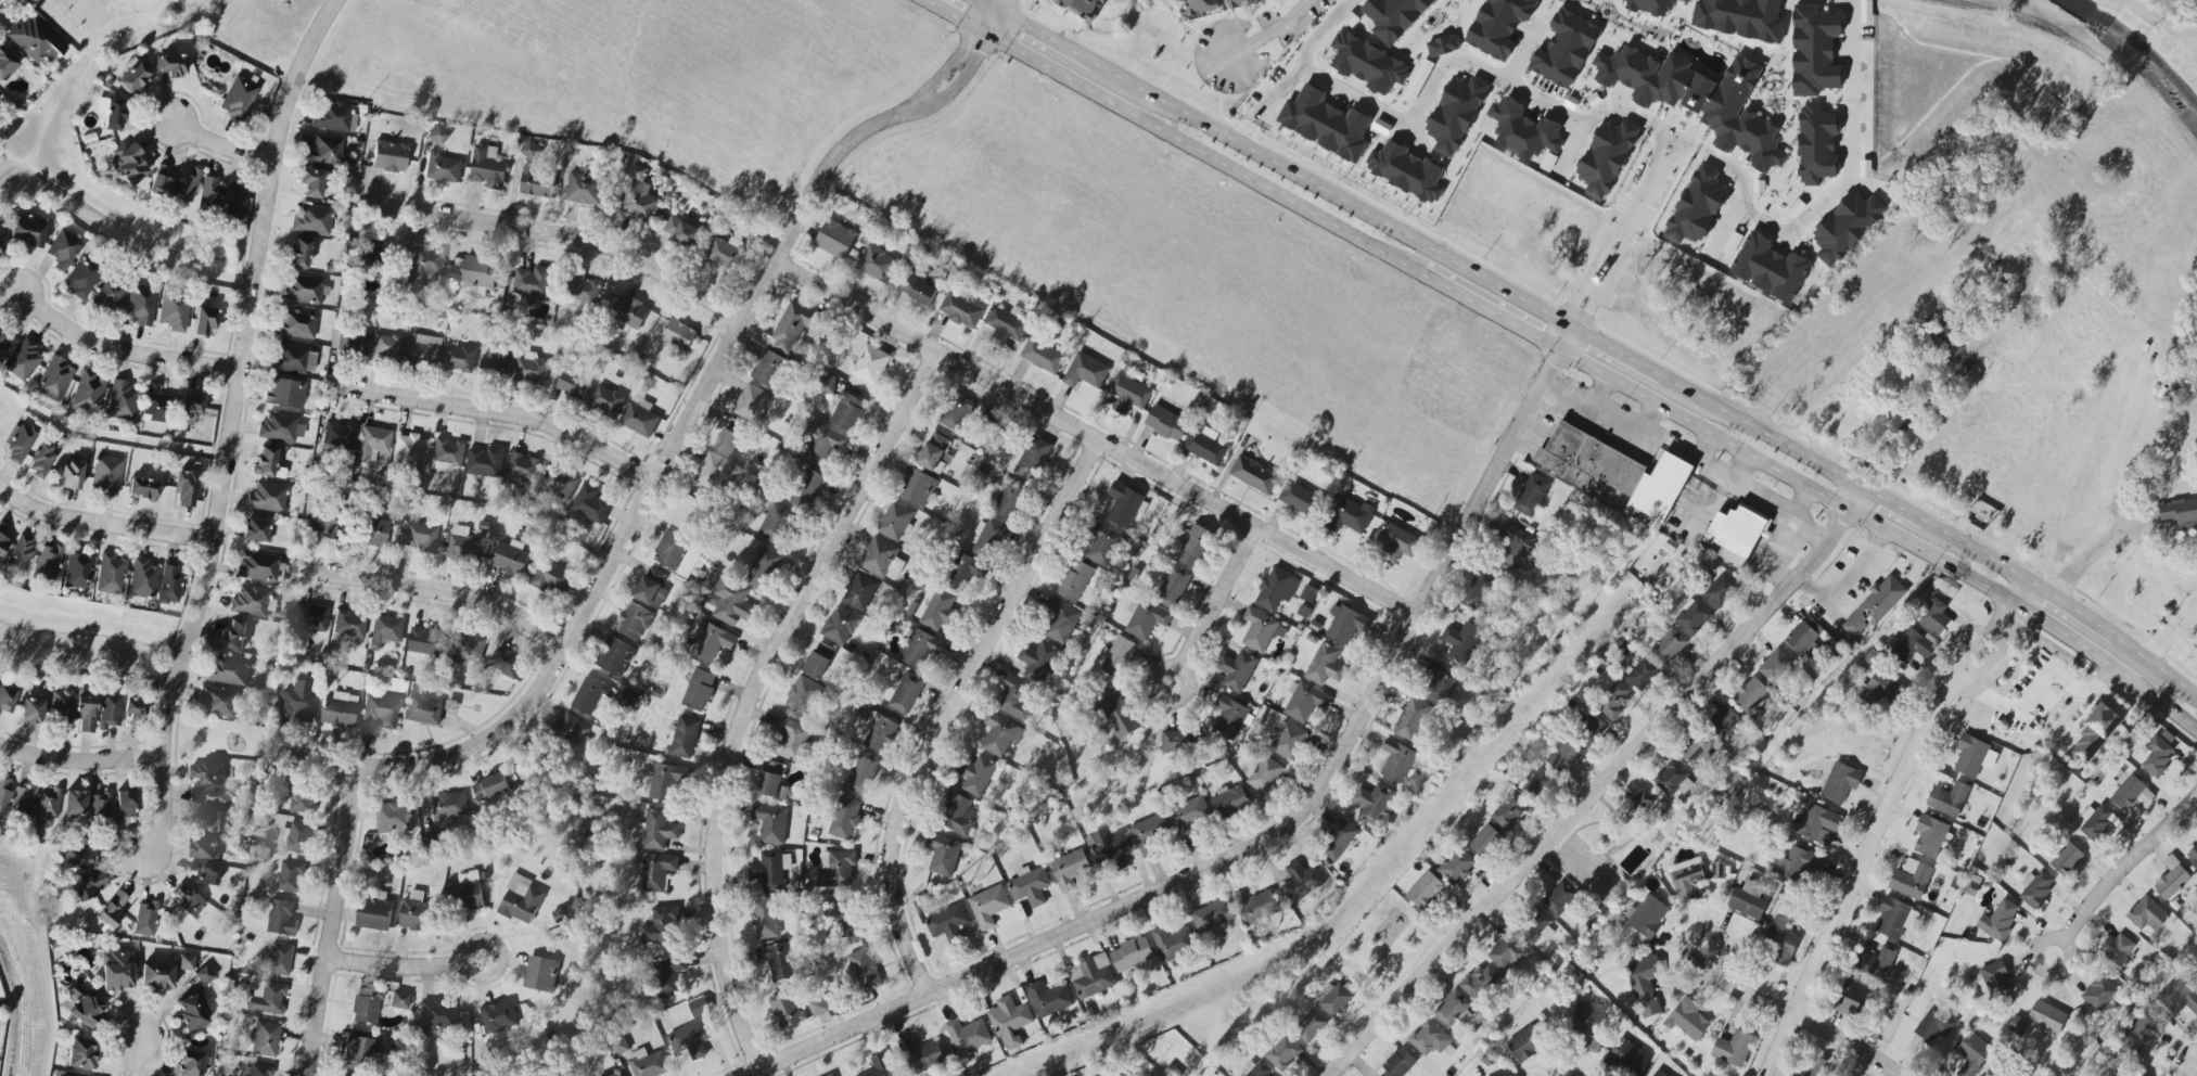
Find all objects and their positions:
building: (175, 0)
building: (1683, 0)
building: (1239, 2)
road: (988, 5)
road: (1002, 5)
building: (1078, 7)
building: (1647, 7)
building: (1193, 8)
road: (955, 15)
building: (1393, 16)
building: (1740, 18)
road: (1326, 25)
building: (1497, 26)
road: (1274, 35)
building: (36, 40)
road: (1046, 41)
building: (1441, 44)
building: (1566, 46)
building: (1814, 50)
building: (5, 64)
building: (1368, 64)
building: (171, 65)
building: (132, 75)
building: (1700, 97)
building: (238, 99)
road: (1272, 100)
building: (110, 113)
building: (1455, 113)
building: (334, 116)
building: (1325, 123)
road: (1661, 129)
building: (1525, 130)
building: (437, 136)
building: (1816, 145)
road: (226, 148)
building: (323, 150)
road: (1652, 150)
road: (1201, 153)
building: (389, 156)
building: (1608, 156)
road: (1672, 161)
building: (127, 163)
building: (442, 168)
building: (487, 168)
building: (1405, 170)
building: (534, 175)
building: (159, 182)
building: (311, 182)
building: (183, 184)
building: (584, 187)
building: (208, 194)
road: (1331, 197)
building: (235, 201)
building: (638, 202)
road: (1637, 203)
building: (1698, 205)
building: (311, 219)
building: (1847, 227)
building: (26, 230)
building: (682, 230)
road: (565, 236)
building: (834, 239)
building: (0, 249)
building: (62, 249)
building: (297, 253)
building: (725, 253)
building: (877, 264)
building: (422, 266)
building: (1768, 267)
building: (477, 271)
road: (1582, 271)
building: (80, 278)
building: (532, 282)
road: (1606, 284)
building: (303, 290)
building: (917, 290)
building: (584, 292)
building: (107, 296)
building: (2034, 296)
building: (140, 305)
building: (174, 310)
building: (960, 310)
building: (628, 311)
road: (1487, 311)
building: (204, 321)
building: (296, 323)
building: (1006, 324)
building: (792, 325)
building: (678, 334)
building: (348, 341)
building: (2, 344)
building: (387, 347)
building: (423, 350)
building: (1042, 353)
building: (1953, 353)
road: (1615, 354)
road: (127, 358)
building: (294, 358)
building: (458, 358)
building: (497, 359)
building: (22, 360)
building: (869, 364)
building: (1127, 364)
building: (531, 369)
building: (768, 369)
building: (1085, 372)
building: (54, 379)
building: (571, 384)
building: (827, 384)
building: (88, 393)
building: (284, 393)
building: (1128, 395)
building: (606, 400)
building: (122, 401)
building: (1196, 401)
building: (752, 402)
building: (154, 405)
building: (190, 407)
road: (500, 411)
building: (847, 412)
building: (957, 413)
building: (639, 419)
building: (1164, 422)
road: (239, 425)
building: (280, 427)
road: (1905, 431)
building: (339, 434)
road: (1763, 434)
building: (729, 437)
road: (1097, 440)
building: (18, 441)
building: (371, 443)
road: (672, 444)
building: (820, 444)
building: (1204, 446)
building: (448, 451)
building: (934, 451)
building: (408, 452)
building: (1032, 458)
building: (41, 461)
building: (265, 461)
building: (485, 462)
building: (521, 466)
building: (712, 471)
building: (1618, 473)
building: (69, 475)
building: (106, 475)
building: (1253, 475)
building: (560, 485)
building: (917, 487)
building: (143, 488)
building: (186, 488)
building: (807, 489)
building: (1531, 496)
building: (267, 497)
building: (1298, 498)
building: (1008, 501)
building: (590, 504)
building: (1124, 504)
road: (1895, 507)
parking lot: (1693, 511)
parking lot: (1760, 512)
building: (687, 513)
building: (2179, 513)
building: (1350, 515)
building: (895, 521)
building: (776, 524)
road: (105, 526)
road: (1882, 529)
building: (256, 530)
building: (374, 531)
building: (1737, 531)
building: (419, 536)
building: (988, 538)
building: (1396, 542)
building: (462, 543)
building: (3, 545)
building: (1102, 546)
building: (1193, 546)
building: (1517, 547)
building: (669, 550)
road: (1982, 553)
building: (20, 554)
building: (510, 558)
building: (881, 558)
road: (2091, 558)
building: (47, 562)
building: (690, 562)
building: (257, 566)
building: (78, 568)
building: (762, 568)
building: (963, 572)
building: (110, 574)
building: (549, 577)
building: (142, 578)
building: (1074, 580)
parking lot: (1844, 582)
building: (169, 584)
building: (1172, 586)
building: (651, 587)
building: (1276, 589)
building: (1479, 590)
building: (1720, 590)
road: (444, 591)
building: (859, 591)
building: (250, 601)
building: (729, 601)
road: (2192, 604)
building: (1874, 605)
road: (1212, 607)
building: (938, 610)
road: (2067, 612)
building: (1934, 616)
building: (1693, 617)
building: (310, 618)
building: (1146, 619)
building: (633, 620)
building: (1060, 622)
building: (1345, 624)
building: (348, 625)
building: (842, 626)
building: (1261, 630)
building: (385, 631)
road: (2167, 632)
building: (234, 633)
building: (1801, 638)
building: (426, 640)
building: (1461, 641)
building: (710, 642)
building: (1669, 645)
building: (1913, 645)
building: (467, 648)
building: (920, 648)
building: (615, 657)
building: (1117, 657)
building: (819, 659)
building: (1037, 661)
building: (506, 663)
building: (1325, 665)
building: (1775, 666)
building: (366, 667)
road: (2149, 669)
building: (228, 670)
building: (1236, 670)
building: (1642, 674)
building: (405, 676)
building: (1440, 682)
road: (2034, 689)
building: (698, 690)
building: (1881, 690)
road: (750, 691)
building: (656, 693)
building: (906, 693)
building: (804, 695)
building: (1750, 695)
building: (589, 696)
building: (1014, 699)
building: (7, 700)
building: (217, 700)
building: (1613, 700)
building: (297, 702)
building: (1304, 702)
building: (61, 706)
building: (423, 708)
road: (951, 708)
building: (135, 709)
building: (110, 710)
building: (30, 712)
building: (335, 712)
building: (381, 712)
building: (86, 714)
building: (1117, 714)
building: (1228, 716)
building: (1410, 719)
building: (1723, 721)
building: (1582, 727)
building: (1851, 728)
building: (571, 729)
building: (880, 733)
building: (1000, 734)
building: (2094, 734)
building: (684, 738)
building: (791, 739)
building: (1288, 741)
building: (1178, 742)
building: (1698, 753)
building: (2157, 755)
building: (1561, 756)
building: (1970, 756)
road: (85, 763)
building: (861, 772)
building: (208, 773)
building: (1264, 774)
building: (978, 776)
building: (771, 780)
building: (1673, 780)
building: (665, 781)
building: (1840, 782)
building: (1538, 785)
road: (1598, 785)
building: (490, 789)
building: (2126, 793)
building: (4, 796)
building: (212, 796)
building: (301, 797)
building: (1947, 799)
building: (23, 800)
building: (1228, 802)
building: (1372, 803)
building: (1642, 803)
building: (49, 804)
building: (74, 804)
building: (126, 805)
building: (99, 806)
building: (448, 808)
building: (1508, 811)
building: (955, 814)
building: (1188, 816)
building: (393, 818)
building: (843, 818)
road: (1879, 820)
building: (217, 821)
building: (2095, 821)
building: (770, 823)
building: (1816, 824)
building: (657, 829)
building: (1151, 833)
road: (1277, 835)
building: (1931, 836)
building: (298, 837)
building: (1338, 840)
building: (1484, 842)
building: (1108, 845)
building: (203, 847)
building: (944, 854)
building: (2193, 858)
building: (2066, 859)
building: (1797, 863)
building: (1456, 867)
building: (769, 869)
building: (836, 869)
building: (1069, 869)
road: (2119, 869)
building: (1717, 870)
building: (656, 871)
building: (86, 872)
building: (204, 873)
building: (291, 876)
building: (2171, 878)
building: (1686, 879)
building: (1911, 879)
building: (1301, 881)
building: (1971, 885)
building: (1029, 886)
building: (2035, 888)
building: (1422, 889)
building: (464, 897)
building: (1559, 898)
building: (187, 900)
building: (520, 900)
building: (1748, 900)
building: (988, 906)
building: (1255, 906)
building: (112, 910)
building: (414, 912)
building: (373, 914)
building: (2147, 914)
building: (1212, 915)
building: (1645, 915)
building: (280, 918)
building: (765, 918)
building: (145, 919)
road: (330, 919)
building: (1894, 919)
building: (2001, 921)
building: (947, 923)
building: (661, 925)
building: (1536, 928)
building: (1779, 941)
building: (1173, 943)
park: (1388, 944)
building: (2117, 948)
building: (1506, 952)
building: (1131, 955)
building: (278, 960)
building: (775, 960)
building: (186, 962)
building: (1877, 963)
road: (405, 966)
building: (2196, 969)
building: (864, 970)
building: (116, 971)
building: (540, 974)
building: (2195, 974)
building: (156, 975)
building: (204, 975)
building: (669, 975)
building: (1091, 976)
building: (1995, 978)
building: (1479, 982)
building: (1645, 984)
building: (2098, 994)
building: (266, 998)
building: (1337, 998)
building: (2176, 998)
building: (1850, 999)
building: (1049, 1000)
building: (399, 1001)
building: (366, 1004)
building: (84, 1005)
building: (817, 1005)
building: (698, 1008)
building: (1453, 1009)
building: (785, 1010)
building: (191, 1012)
building: (436, 1016)
building: (498, 1016)
building: (2046, 1016)
building: (1008, 1020)
building: (1687, 1020)
road: (1796, 1021)
building: (1934, 1024)
building: (1589, 1025)
building: (2017, 1025)
building: (1310, 1027)
building: (2141, 1034)
building: (967, 1036)
building: (265, 1038)
building: (1429, 1038)
building: (690, 1039)
building: (1524, 1043)
building: (617, 1046)
building: (1734, 1048)
building: (80, 1053)
building: (358, 1053)
building: (1281, 1053)
building: (1970, 1053)
building: (922, 1055)
building: (1626, 1058)
road: (141, 1062)
building: (189, 1063)
building: (648, 1063)
building: (1398, 1063)
building: (878, 1066)
building: (1816, 1067)
building: (258, 1069)
building: (1255, 1069)
road: (2196, 1071)
building: (1993, 1072)
building: (1657, 1074)
building: (2138, 1074)
building: (612, 1075)
building: (829, 1075)

